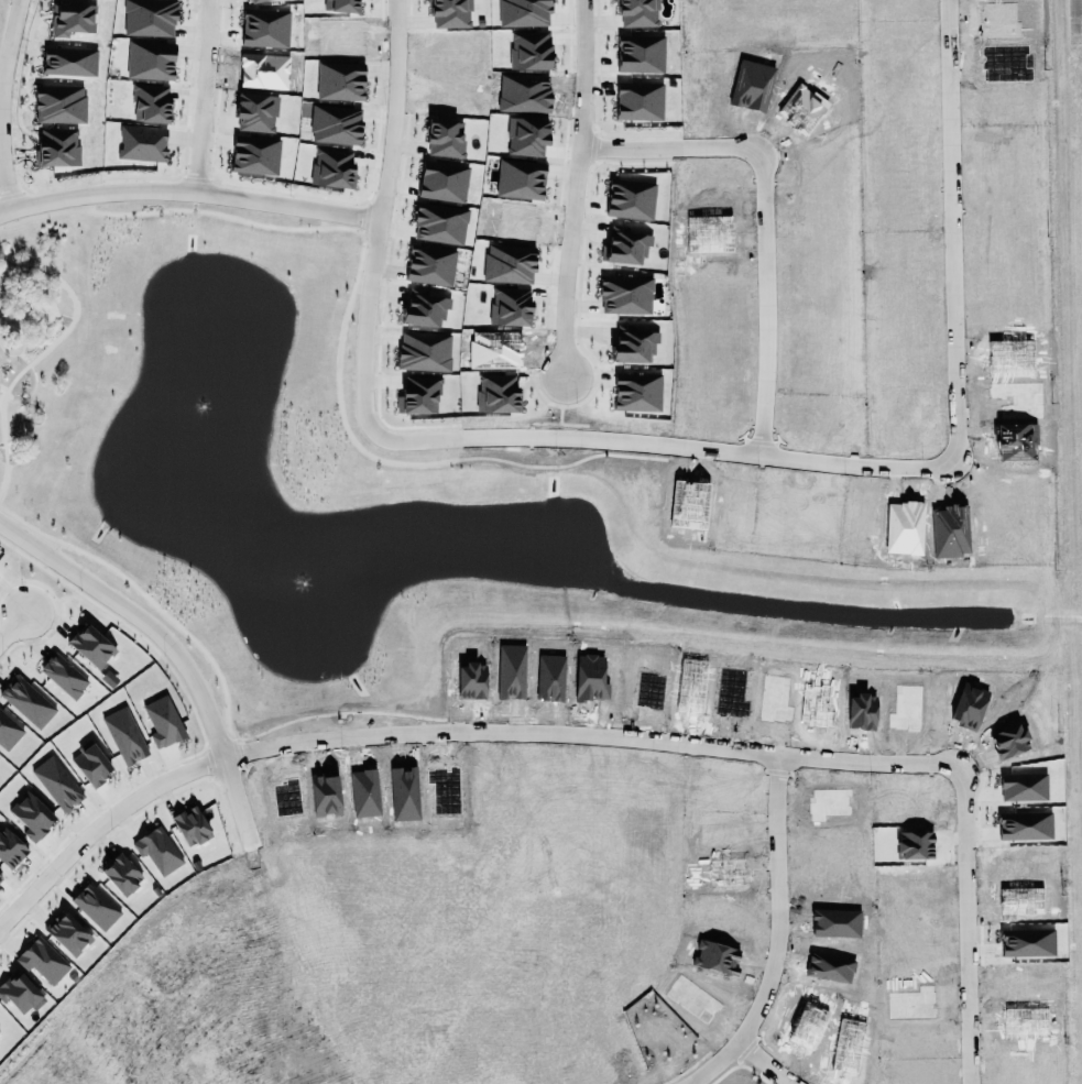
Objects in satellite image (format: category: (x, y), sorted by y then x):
building: (73, 19)
building: (151, 61)
building: (70, 62)
road: (205, 96)
building: (151, 102)
road: (2, 103)
building: (61, 103)
building: (58, 147)
road: (673, 151)
building: (521, 179)
road: (576, 187)
road: (189, 191)
building: (631, 199)
road: (381, 213)
building: (627, 245)
building: (510, 264)
building: (626, 295)
building: (511, 305)
road: (765, 309)
road: (958, 328)
building: (635, 343)
building: (425, 351)
building: (637, 392)
building: (498, 393)
building: (419, 395)
road: (567, 441)
road: (13, 627)
building: (91, 646)
road: (172, 647)
building: (64, 676)
building: (28, 701)
building: (164, 722)
building: (9, 731)
building: (125, 735)
road: (747, 754)
road: (100, 823)
building: (10, 848)
building: (159, 851)
building: (122, 874)
road: (782, 933)
road: (763, 1066)

